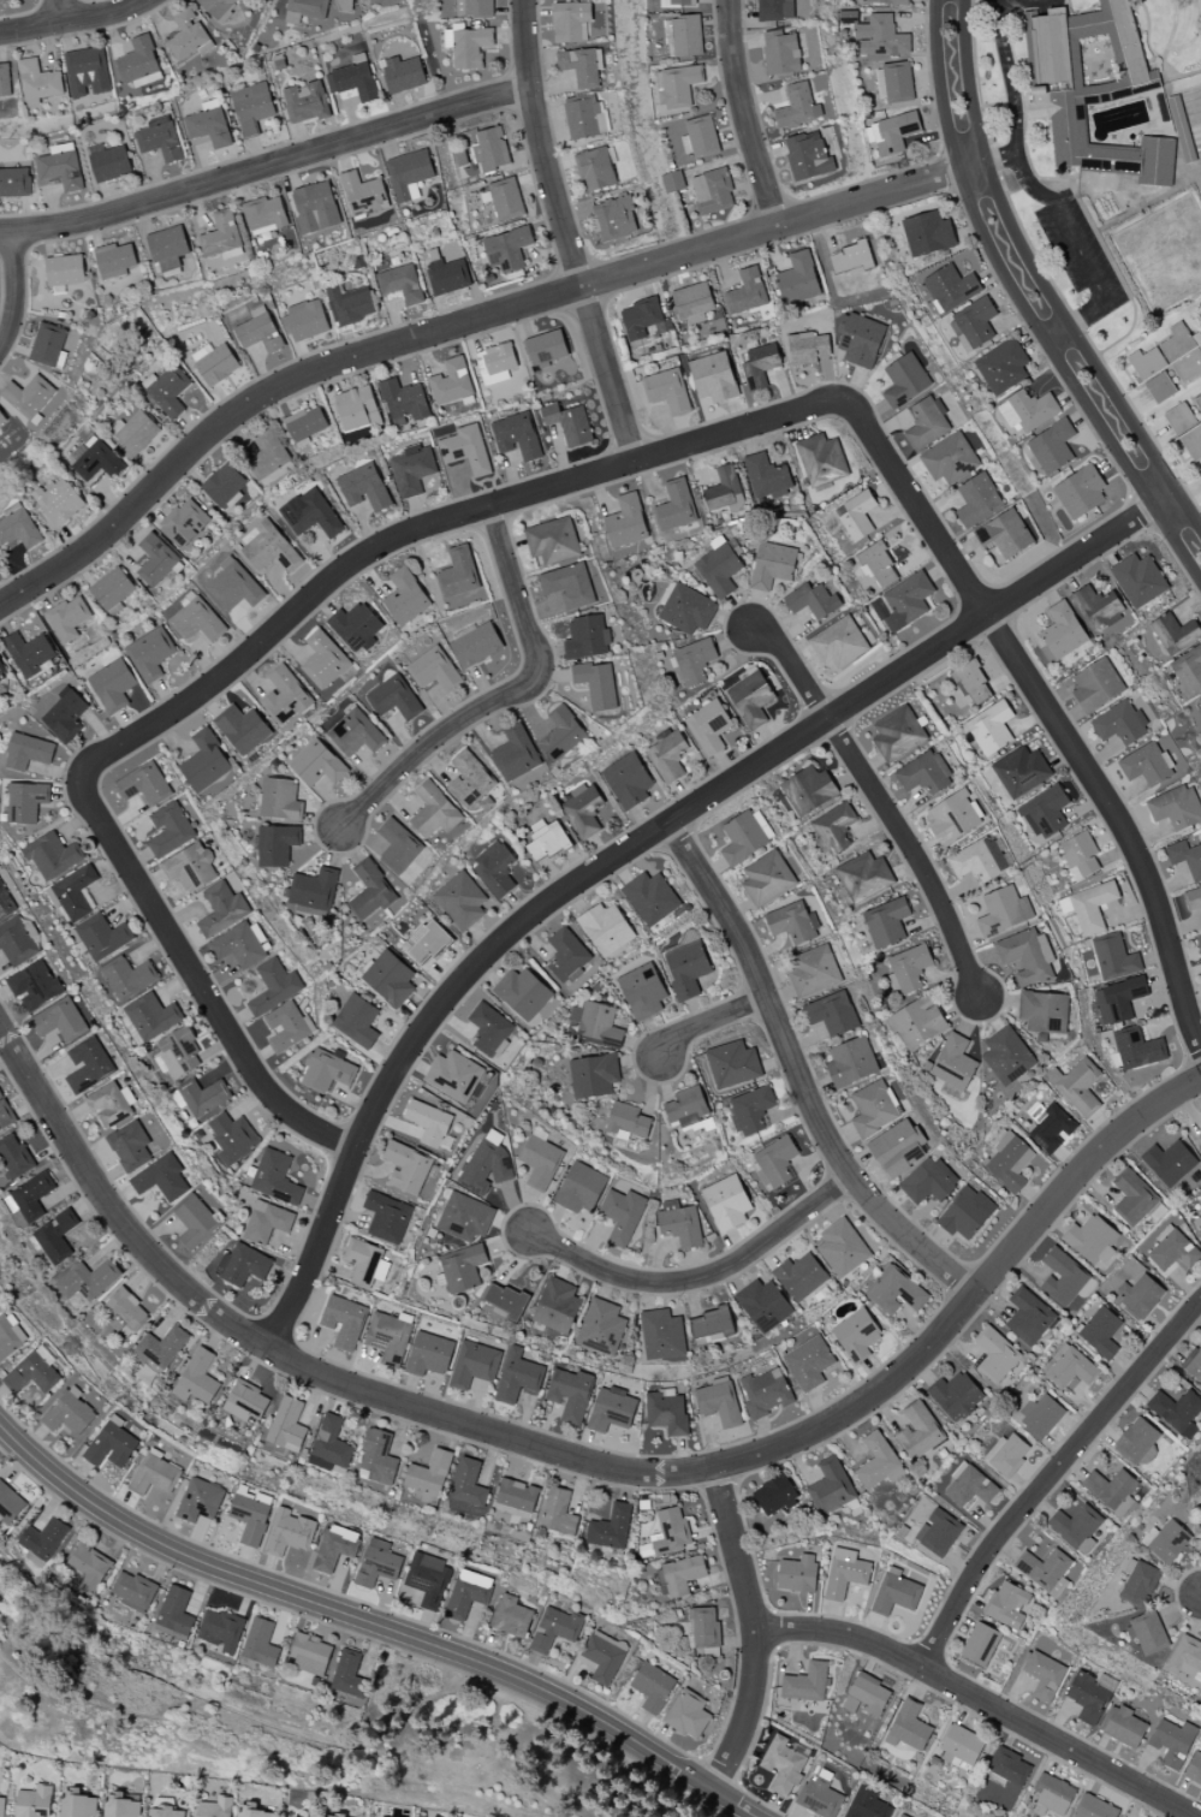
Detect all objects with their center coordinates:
building: (387, 1)
building: (884, 1)
building: (345, 5)
building: (218, 7)
building: (474, 7)
building: (304, 10)
building: (775, 10)
road: (63, 11)
road: (75, 20)
building: (571, 22)
building: (683, 35)
building: (188, 36)
building: (880, 36)
building: (466, 44)
building: (781, 52)
building: (138, 63)
building: (581, 66)
building: (87, 72)
building: (404, 73)
road: (1007, 76)
building: (4, 81)
building: (353, 81)
building: (37, 82)
building: (893, 83)
building: (676, 85)
building: (1090, 90)
building: (305, 102)
building: (251, 107)
building: (797, 107)
road: (745, 115)
building: (583, 118)
building: (209, 124)
building: (891, 132)
building: (1184, 132)
building: (700, 137)
building: (160, 138)
building: (490, 149)
building: (808, 156)
road: (1000, 158)
building: (108, 162)
building: (61, 166)
road: (267, 167)
building: (595, 168)
building: (409, 174)
building: (14, 182)
building: (672, 182)
building: (712, 191)
building: (363, 194)
building: (506, 198)
building: (315, 207)
building: (264, 214)
building: (614, 218)
building: (927, 233)
road: (566, 234)
building: (221, 237)
road: (1074, 243)
building: (507, 249)
building: (850, 259)
building: (114, 260)
building: (64, 272)
building: (446, 274)
building: (798, 279)
road: (1040, 280)
building: (400, 284)
building: (951, 287)
building: (747, 292)
road: (17, 296)
building: (692, 302)
building: (350, 304)
road: (1024, 308)
building: (642, 319)
building: (305, 321)
building: (973, 323)
road: (462, 326)
building: (258, 331)
building: (860, 339)
building: (47, 344)
building: (546, 346)
building: (808, 348)
building: (1182, 352)
building: (1146, 362)
building: (215, 363)
building: (495, 363)
building: (760, 364)
building: (1001, 367)
building: (713, 376)
building: (904, 380)
building: (451, 382)
building: (1160, 387)
building: (167, 390)
building: (666, 391)
building: (30, 397)
building: (1197, 402)
building: (404, 403)
building: (357, 409)
building: (1027, 410)
building: (1179, 417)
building: (1, 418)
building: (927, 422)
building: (569, 423)
building: (304, 424)
building: (133, 433)
building: (517, 435)
building: (1193, 443)
building: (1052, 446)
building: (465, 449)
building: (269, 457)
building: (950, 458)
building: (95, 459)
building: (821, 459)
building: (412, 469)
building: (767, 476)
building: (224, 486)
building: (363, 487)
building: (725, 491)
building: (1080, 492)
building: (977, 499)
building: (57, 501)
building: (676, 505)
building: (311, 513)
road: (460, 516)
building: (857, 516)
building: (626, 522)
building: (184, 523)
building: (18, 527)
building: (1005, 533)
building: (552, 540)
building: (269, 548)
building: (155, 559)
building: (876, 564)
building: (772, 565)
building: (720, 568)
building: (459, 571)
building: (1138, 580)
building: (234, 586)
building: (569, 586)
building: (112, 590)
building: (405, 596)
building: (813, 601)
building: (906, 601)
building: (1095, 606)
building: (685, 608)
building: (67, 618)
building: (196, 620)
building: (356, 627)
building: (1063, 630)
building: (1175, 633)
building: (587, 637)
building: (839, 642)
building: (475, 645)
building: (30, 654)
building: (149, 654)
building: (325, 660)
building: (692, 661)
road: (791, 669)
building: (433, 670)
building: (1188, 671)
building: (2, 672)
building: (971, 682)
building: (113, 684)
building: (597, 684)
building: (1096, 685)
building: (286, 695)
building: (394, 697)
road: (509, 697)
building: (751, 699)
building: (1199, 705)
building: (65, 714)
building: (1119, 724)
road: (1056, 725)
building: (708, 726)
building: (991, 728)
building: (242, 729)
building: (356, 734)
building: (563, 734)
building: (897, 734)
building: (28, 752)
building: (516, 754)
building: (667, 755)
building: (206, 761)
building: (316, 764)
building: (1147, 765)
building: (1021, 771)
building: (924, 773)
building: (470, 780)
building: (628, 780)
building: (143, 784)
building: (808, 790)
building: (279, 800)
building: (25, 802)
building: (1176, 807)
building: (434, 810)
building: (1045, 812)
building: (583, 813)
building: (953, 818)
building: (833, 829)
building: (170, 830)
building: (743, 838)
building: (546, 842)
building: (275, 844)
building: (398, 845)
road: (638, 845)
road: (914, 853)
building: (52, 855)
building: (1080, 855)
building: (1185, 857)
building: (977, 860)
building: (191, 867)
building: (495, 868)
building: (863, 877)
building: (767, 878)
building: (314, 889)
building: (370, 891)
building: (75, 892)
building: (650, 897)
building: (1193, 898)
building: (460, 901)
building: (6, 902)
building: (1092, 907)
building: (222, 909)
building: (1004, 910)
building: (792, 922)
building: (886, 922)
building: (606, 928)
building: (102, 936)
building: (17, 942)
building: (427, 942)
building: (239, 945)
building: (1199, 945)
building: (566, 956)
building: (1027, 956)
building: (1114, 958)
building: (685, 964)
road: (189, 966)
building: (909, 968)
building: (813, 970)
building: (129, 978)
building: (390, 978)
building: (35, 985)
building: (274, 986)
building: (642, 991)
building: (523, 992)
building: (1118, 999)
building: (1044, 1011)
building: (832, 1013)
building: (151, 1016)
building: (60, 1020)
building: (357, 1021)
road: (709, 1021)
building: (917, 1022)
building: (599, 1026)
building: (286, 1027)
building: (488, 1029)
building: (1137, 1049)
building: (178, 1052)
building: (1006, 1056)
building: (851, 1062)
building: (732, 1064)
building: (89, 1065)
building: (953, 1065)
building: (326, 1071)
building: (453, 1075)
building: (594, 1075)
road: (799, 1077)
building: (1077, 1086)
building: (202, 1097)
building: (111, 1104)
building: (686, 1106)
building: (873, 1109)
building: (750, 1110)
building: (5, 1114)
building: (626, 1121)
building: (428, 1123)
building: (1052, 1129)
building: (232, 1138)
building: (1199, 1139)
building: (130, 1146)
building: (897, 1148)
building: (14, 1156)
building: (541, 1159)
building: (774, 1162)
building: (1009, 1162)
building: (1169, 1163)
building: (486, 1166)
building: (406, 1168)
building: (275, 1177)
building: (162, 1178)
building: (928, 1181)
building: (581, 1187)
building: (32, 1195)
building: (1132, 1198)
building: (726, 1203)
building: (965, 1213)
building: (622, 1215)
building: (464, 1217)
building: (387, 1218)
building: (266, 1222)
building: (195, 1223)
building: (679, 1223)
building: (1197, 1225)
building: (55, 1236)
building: (1093, 1240)
building: (842, 1247)
building: (1172, 1249)
building: (365, 1263)
building: (242, 1265)
building: (463, 1267)
building: (801, 1277)
building: (1063, 1277)
road: (702, 1278)
building: (88, 1279)
building: (896, 1292)
building: (1140, 1296)
road: (974, 1299)
building: (505, 1301)
building: (763, 1305)
building: (557, 1306)
building: (1028, 1316)
building: (344, 1322)
building: (712, 1325)
building: (601, 1326)
building: (1100, 1331)
building: (661, 1335)
building: (856, 1335)
building: (390, 1336)
building: (10, 1337)
building: (160, 1348)
building: (429, 1354)
building: (995, 1354)
road: (287, 1359)
building: (809, 1362)
building: (1194, 1364)
building: (474, 1365)
building: (1070, 1366)
building: (32, 1372)
building: (518, 1376)
building: (197, 1378)
building: (765, 1393)
building: (570, 1394)
building: (956, 1395)
building: (245, 1400)
building: (720, 1401)
building: (611, 1409)
building: (666, 1412)
building: (1177, 1412)
building: (70, 1413)
building: (1040, 1415)
building: (287, 1425)
building: (918, 1431)
building: (1138, 1441)
building: (111, 1443)
building: (329, 1444)
building: (1007, 1454)
building: (377, 1459)
building: (879, 1462)
building: (154, 1474)
road: (1052, 1478)
building: (468, 1483)
building: (831, 1486)
building: (969, 1486)
building: (1112, 1490)
building: (517, 1495)
building: (774, 1495)
building: (200, 1500)
building: (8, 1506)
building: (558, 1513)
building: (611, 1527)
building: (1077, 1527)
building: (289, 1532)
building: (938, 1532)
building: (43, 1538)
building: (1166, 1540)
building: (335, 1548)
building: (1200, 1548)
building: (377, 1563)
building: (89, 1567)
building: (1046, 1570)
building: (845, 1573)
building: (797, 1574)
building: (678, 1575)
building: (429, 1579)
building: (1138, 1583)
building: (133, 1591)
building: (468, 1593)
building: (896, 1593)
building: (1007, 1604)
building: (174, 1614)
building: (511, 1616)
road: (373, 1623)
building: (703, 1627)
building: (555, 1628)
building: (220, 1629)
road: (756, 1631)
building: (1147, 1633)
building: (260, 1643)
building: (980, 1644)
building: (310, 1655)
building: (604, 1656)
building: (1187, 1658)
building: (1044, 1674)
building: (347, 1676)
building: (805, 1682)
building: (652, 1687)
building: (866, 1694)
building: (1090, 1696)
road: (982, 1700)
building: (688, 1714)
building: (909, 1727)
building: (1124, 1727)
building: (961, 1746)
building: (785, 1764)
building: (1009, 1766)
building: (1194, 1769)
building: (1053, 1795)
building: (32, 1801)
building: (77, 1804)
building: (867, 1804)
building: (1, 1805)
building: (121, 1805)
building: (216, 1807)
building: (1095, 1807)
building: (165, 1812)
building: (255, 1812)
building: (335, 1816)
building: (902, 1816)

